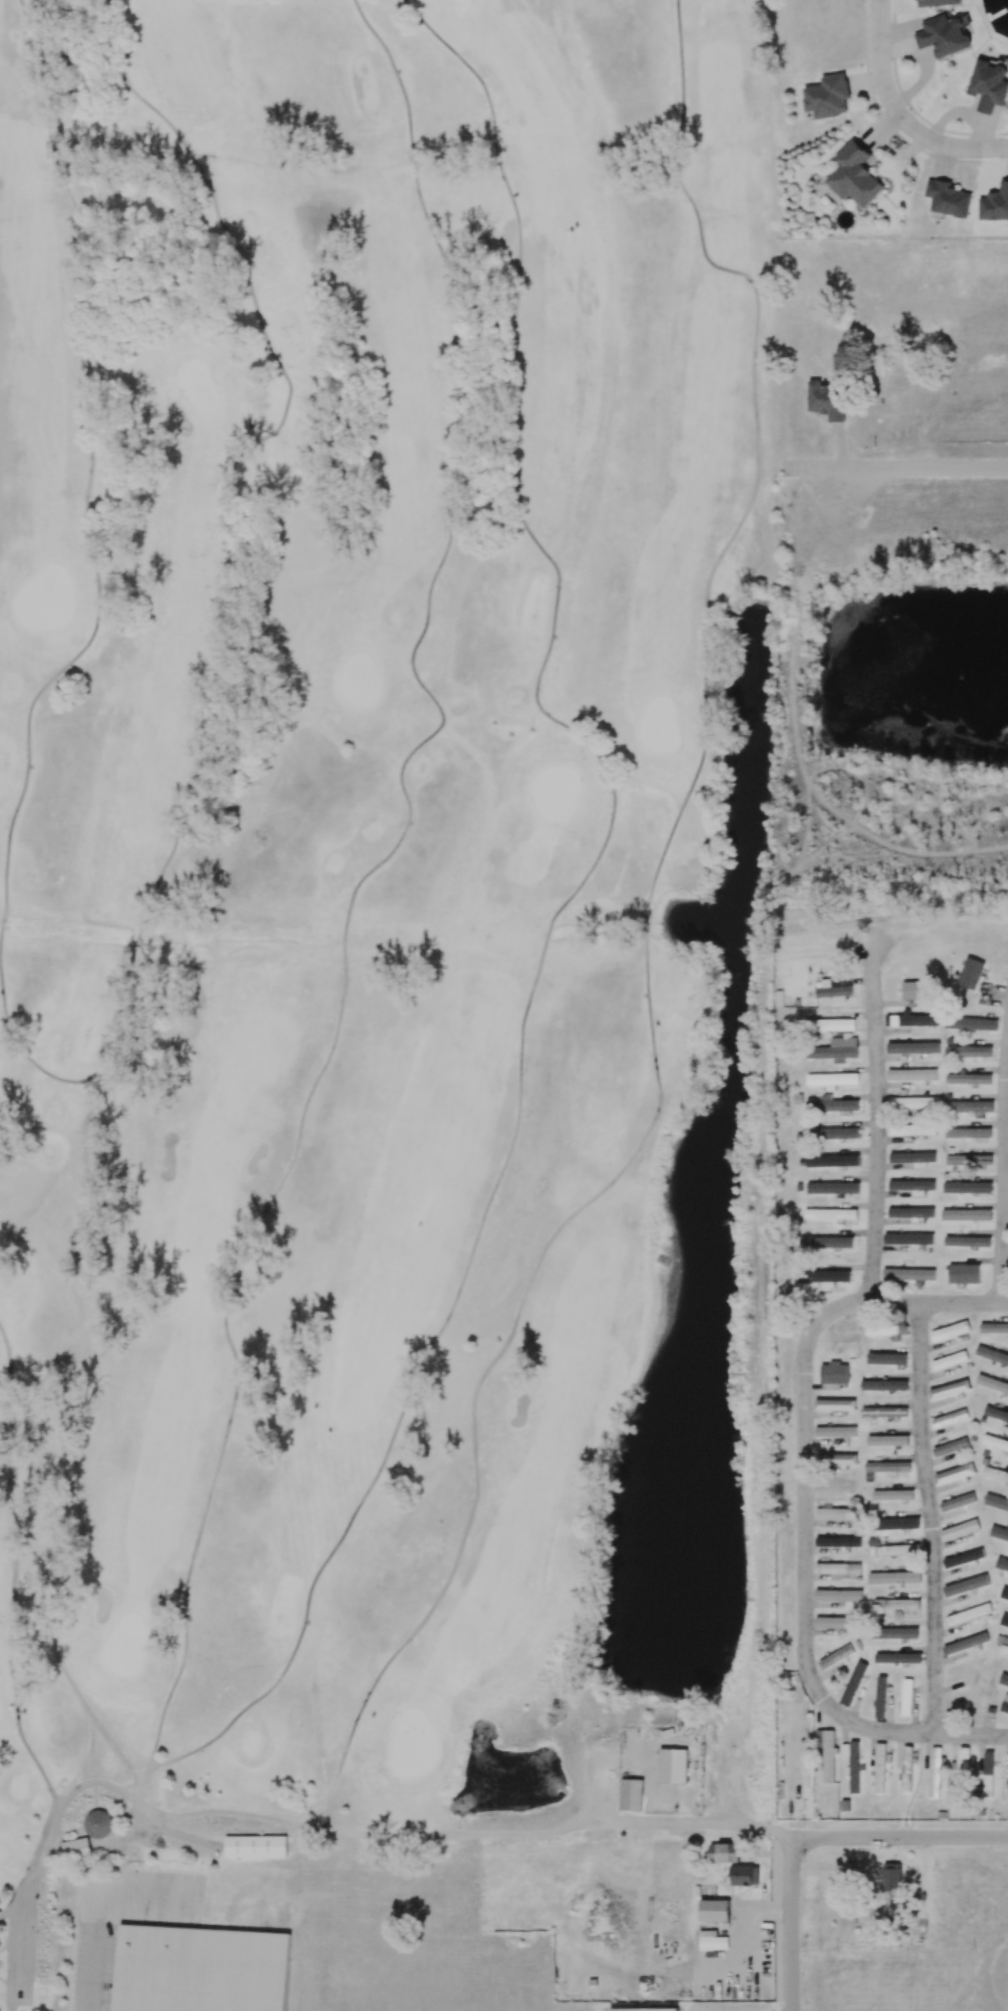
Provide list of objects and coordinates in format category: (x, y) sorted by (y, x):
road: (900, 113)
road: (894, 467)
road: (89, 476)
road: (232, 590)
road: (704, 704)
road: (359, 881)
road: (565, 899)
park: (388, 931)
road: (878, 1135)
road: (1005, 1185)
road: (938, 1303)
road: (57, 1462)
road: (931, 1517)
road: (14, 1572)
road: (805, 1579)
road: (415, 1630)
road: (90, 1747)
building: (675, 1766)
building: (633, 1795)
road: (323, 1815)
building: (98, 1823)
road: (307, 1826)
road: (899, 1837)
building: (257, 1845)
building: (75, 1847)
road: (99, 1907)
road: (5, 1912)
road: (791, 1924)
road: (740, 1925)
building: (201, 1969)
building: (648, 2010)

